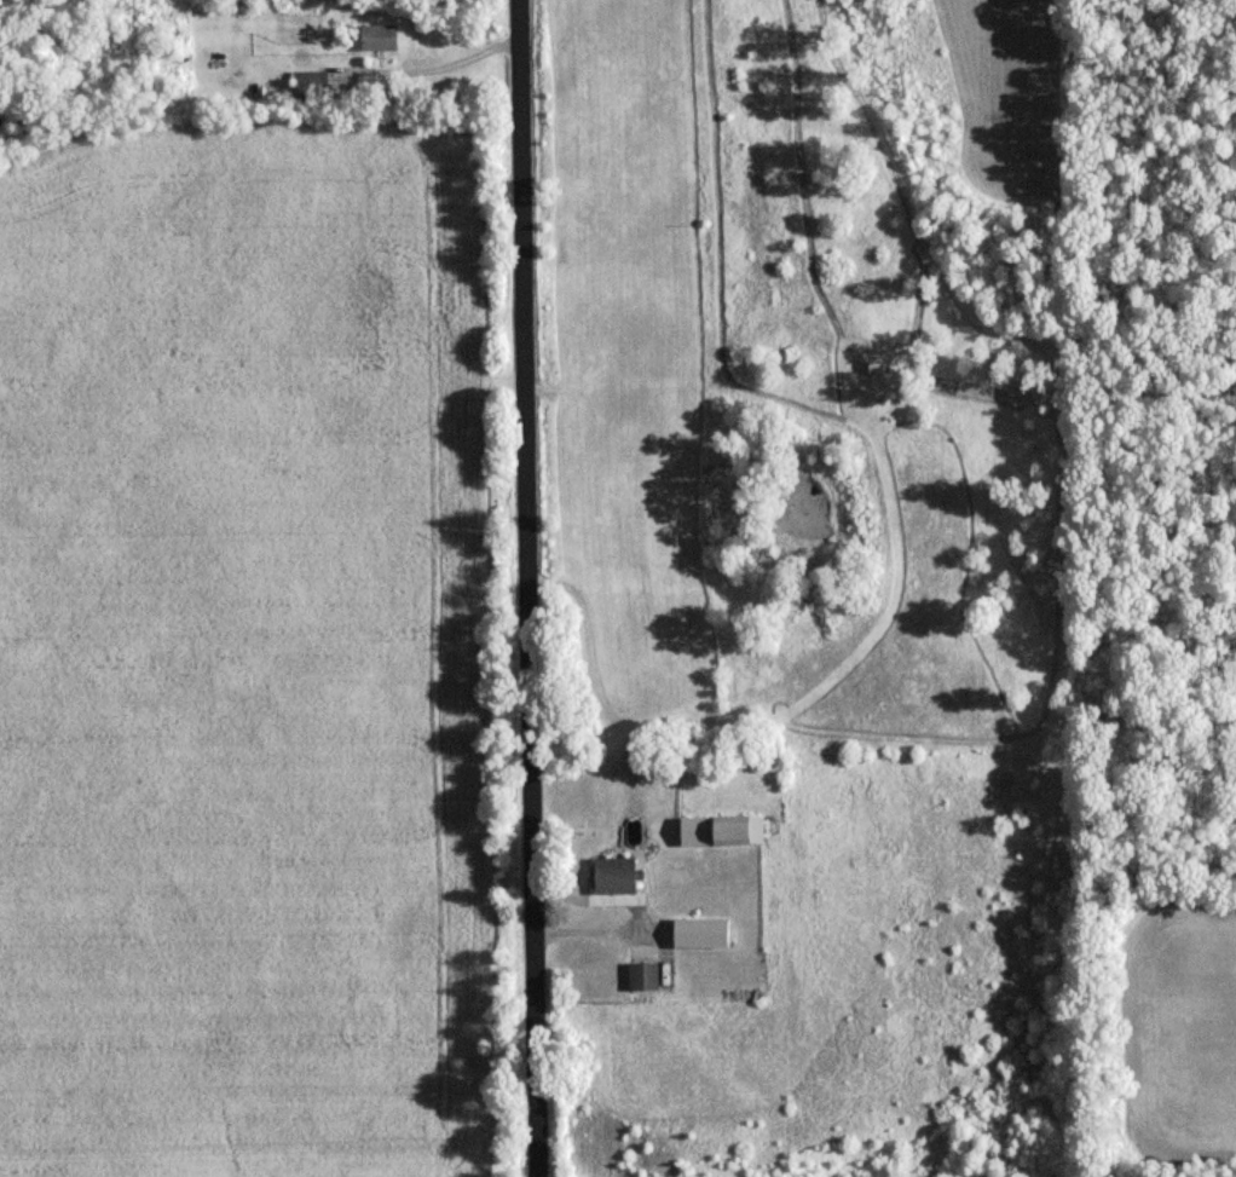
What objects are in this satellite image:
building: (387, 35)
road: (431, 65)
building: (314, 85)
road: (532, 588)
building: (723, 830)
building: (617, 875)
building: (705, 933)
building: (646, 975)

